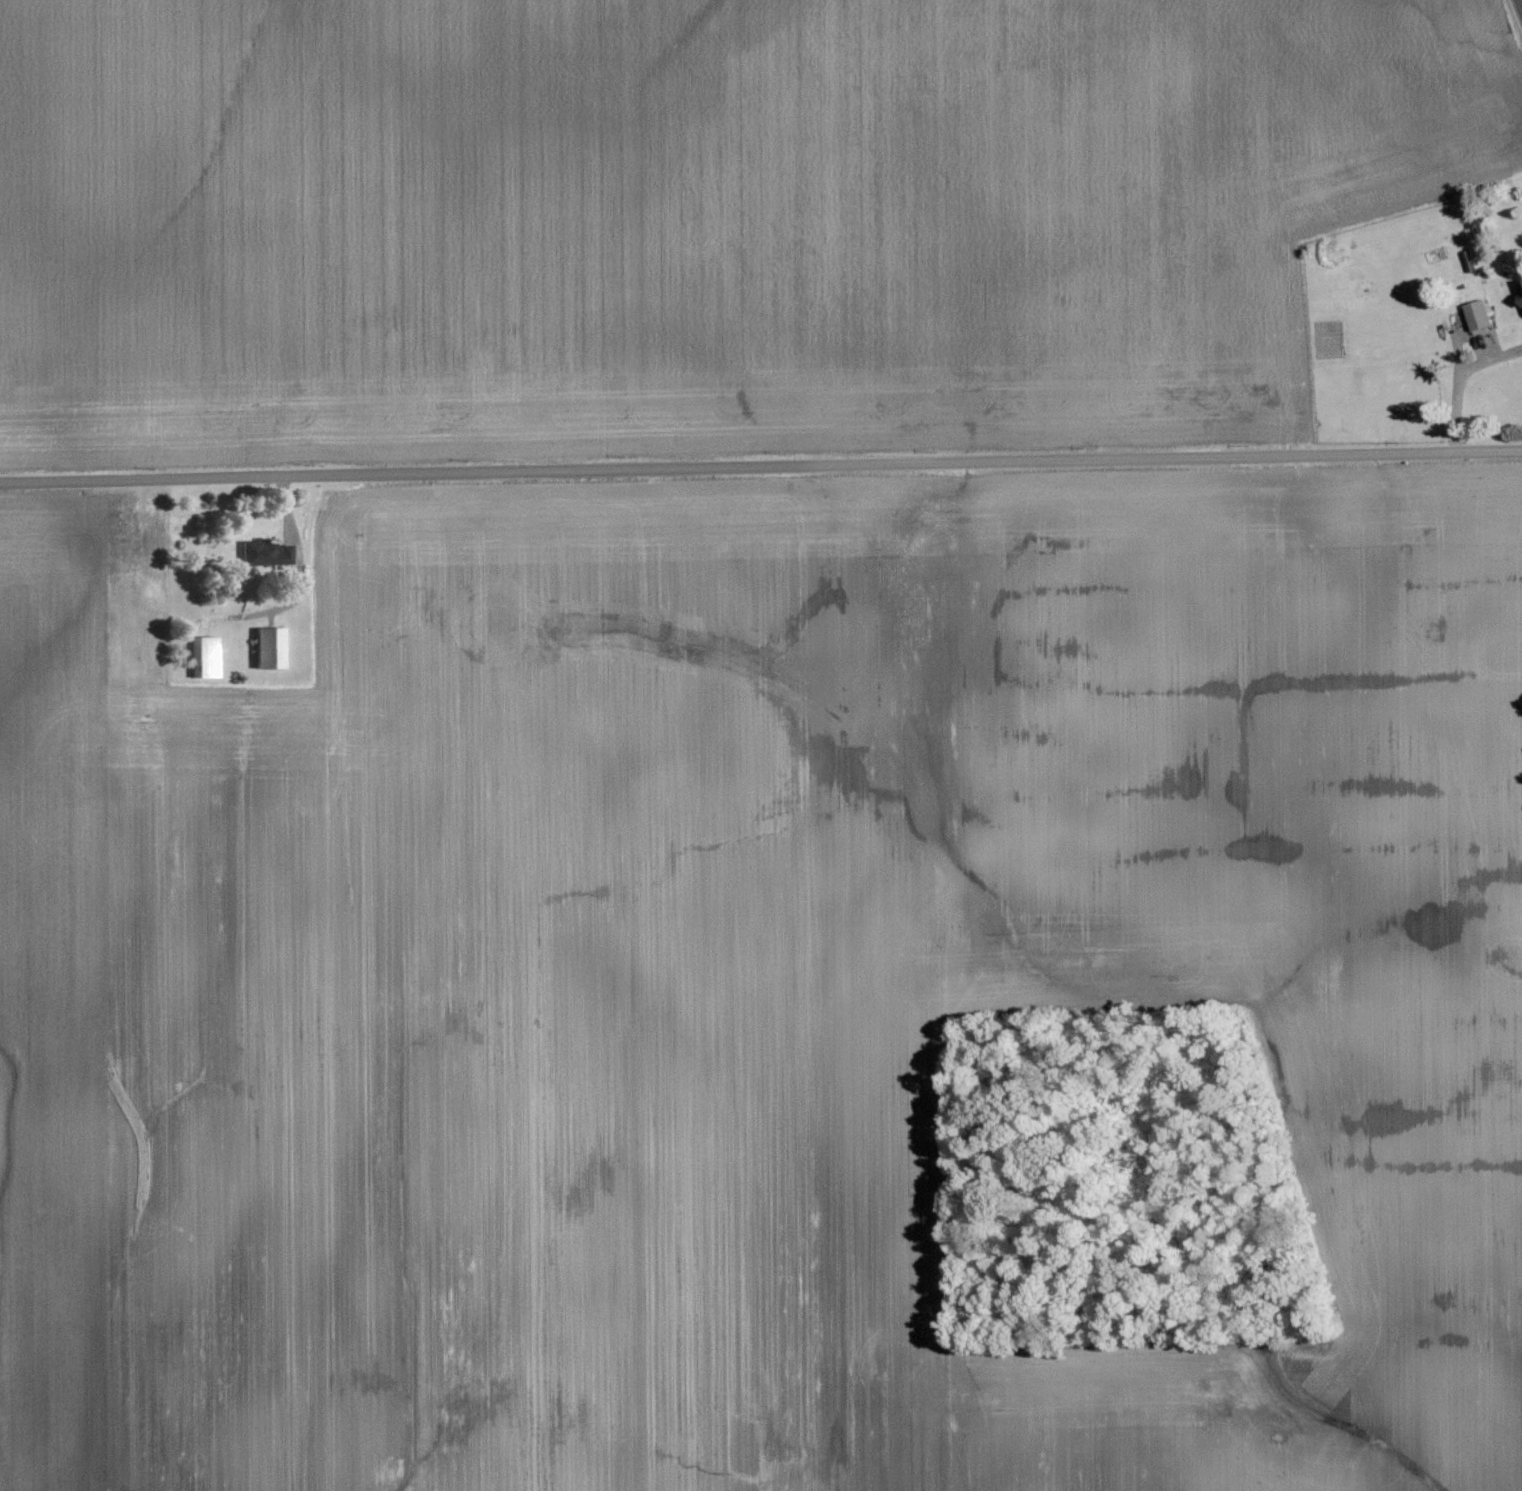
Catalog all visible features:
road: (1521, 2)
building: (1480, 315)
road: (1457, 379)
road: (760, 467)
road: (300, 583)
building: (269, 646)
building: (207, 656)

